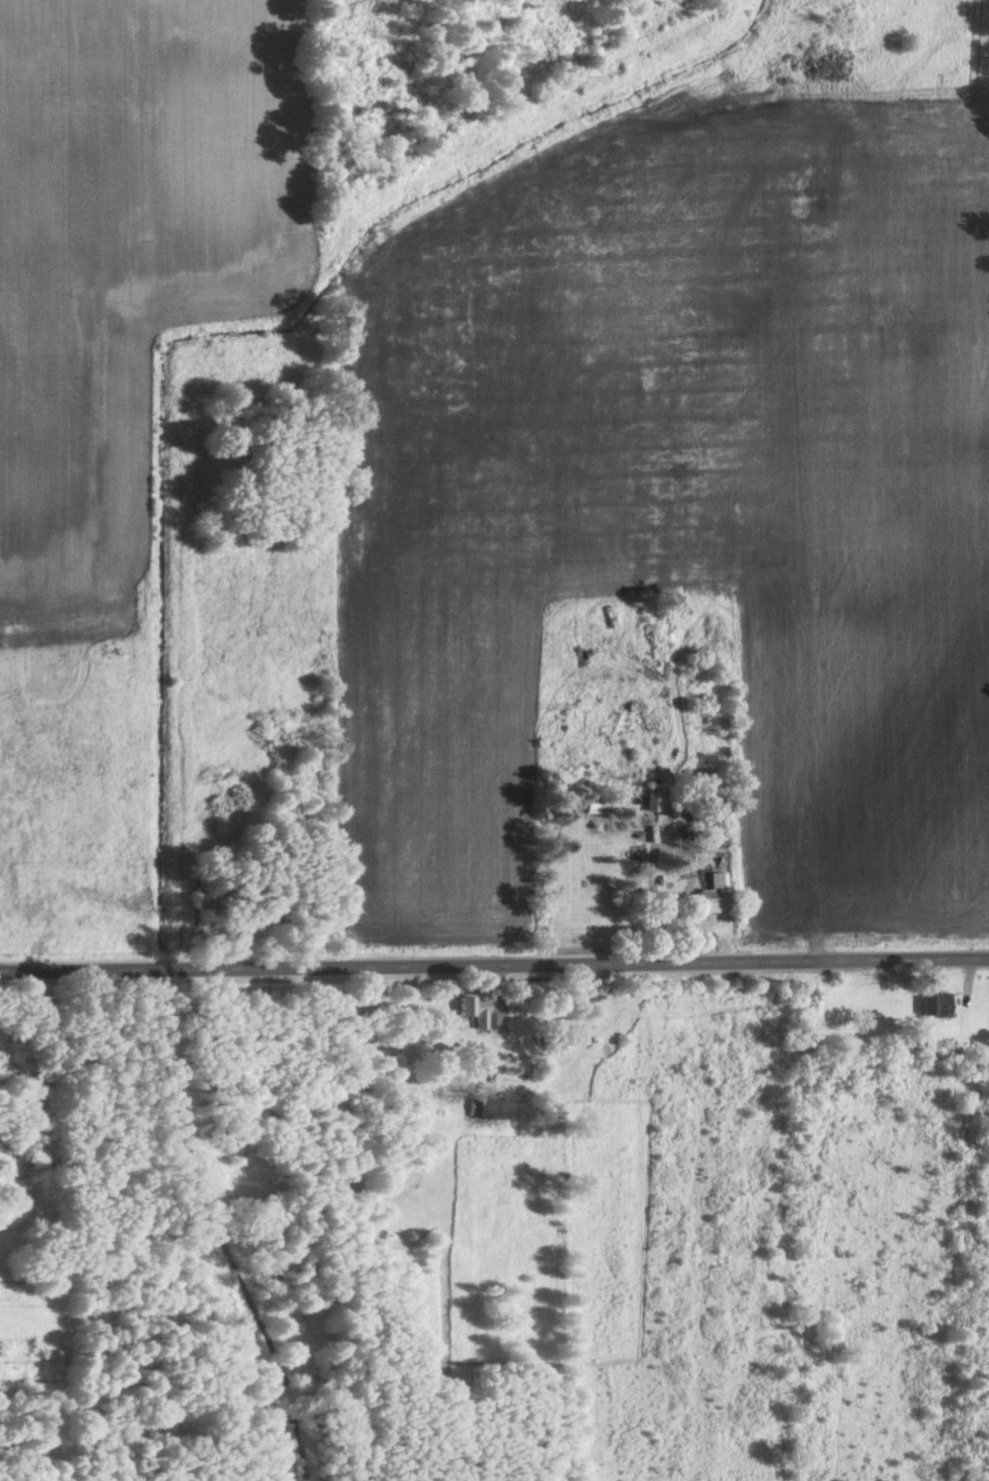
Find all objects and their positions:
building: (629, 724)
building: (650, 804)
building: (597, 807)
building: (713, 896)
road: (494, 965)
building: (936, 1007)
building: (476, 1013)
building: (489, 1113)

